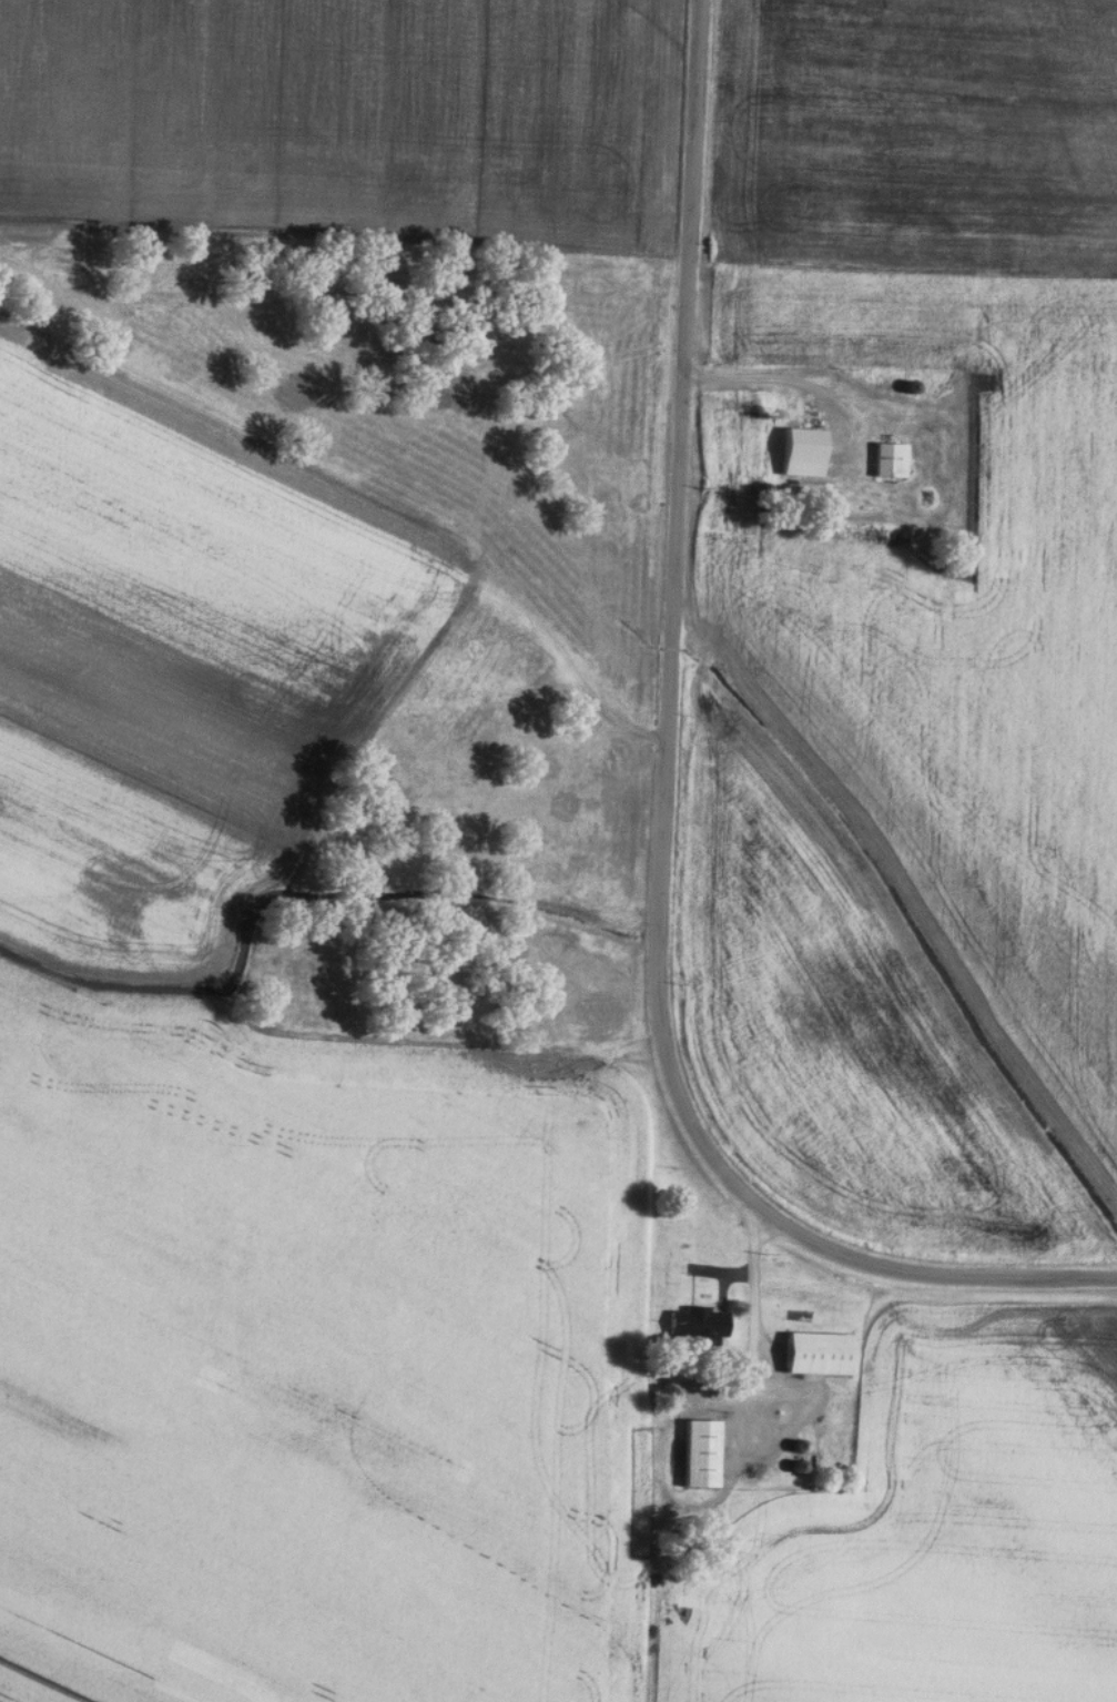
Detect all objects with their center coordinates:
road: (790, 385)
building: (802, 453)
building: (888, 460)
road: (659, 808)
road: (751, 1299)
building: (697, 1325)
building: (818, 1353)
building: (699, 1453)

